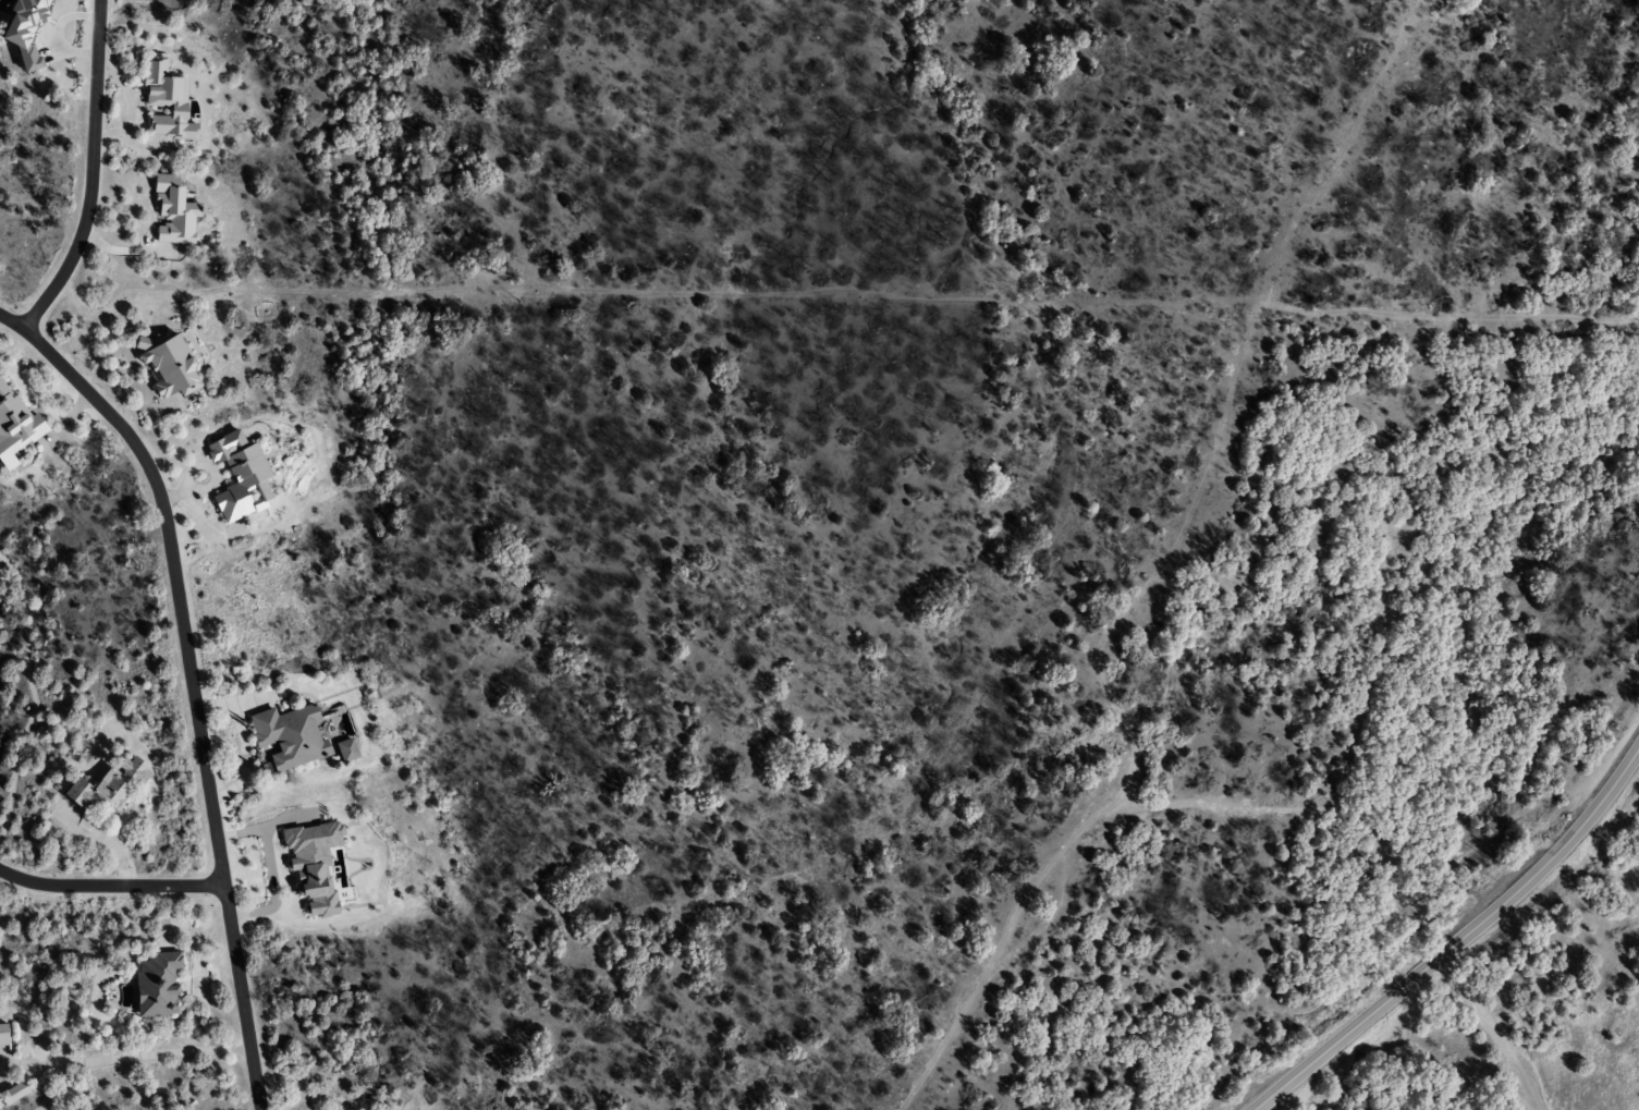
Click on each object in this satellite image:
building: (162, 101)
road: (91, 173)
road: (10, 321)
building: (166, 365)
building: (14, 427)
building: (236, 477)
road: (193, 693)
building: (284, 737)
building: (343, 751)
building: (107, 786)
road: (109, 886)
road: (1458, 940)
building: (154, 986)
building: (2, 1036)
road: (1530, 1087)

